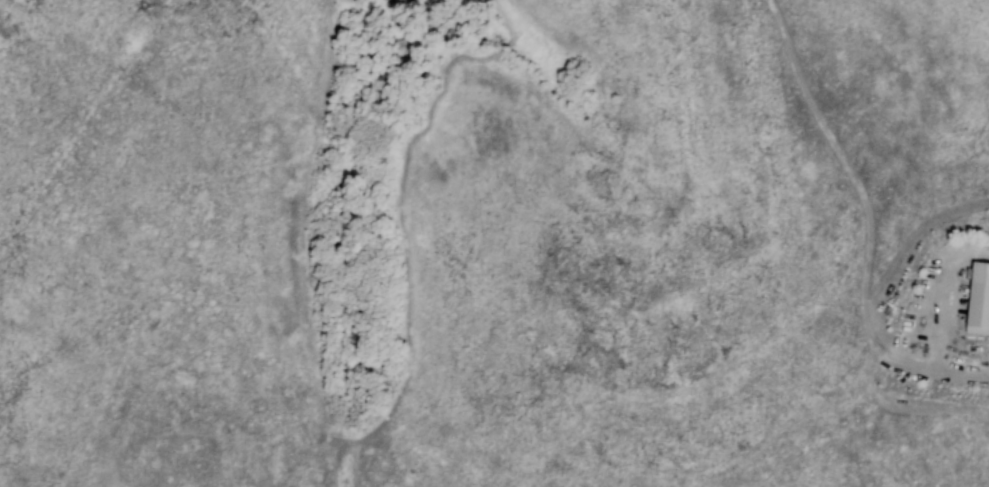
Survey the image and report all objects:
building: (977, 299)

